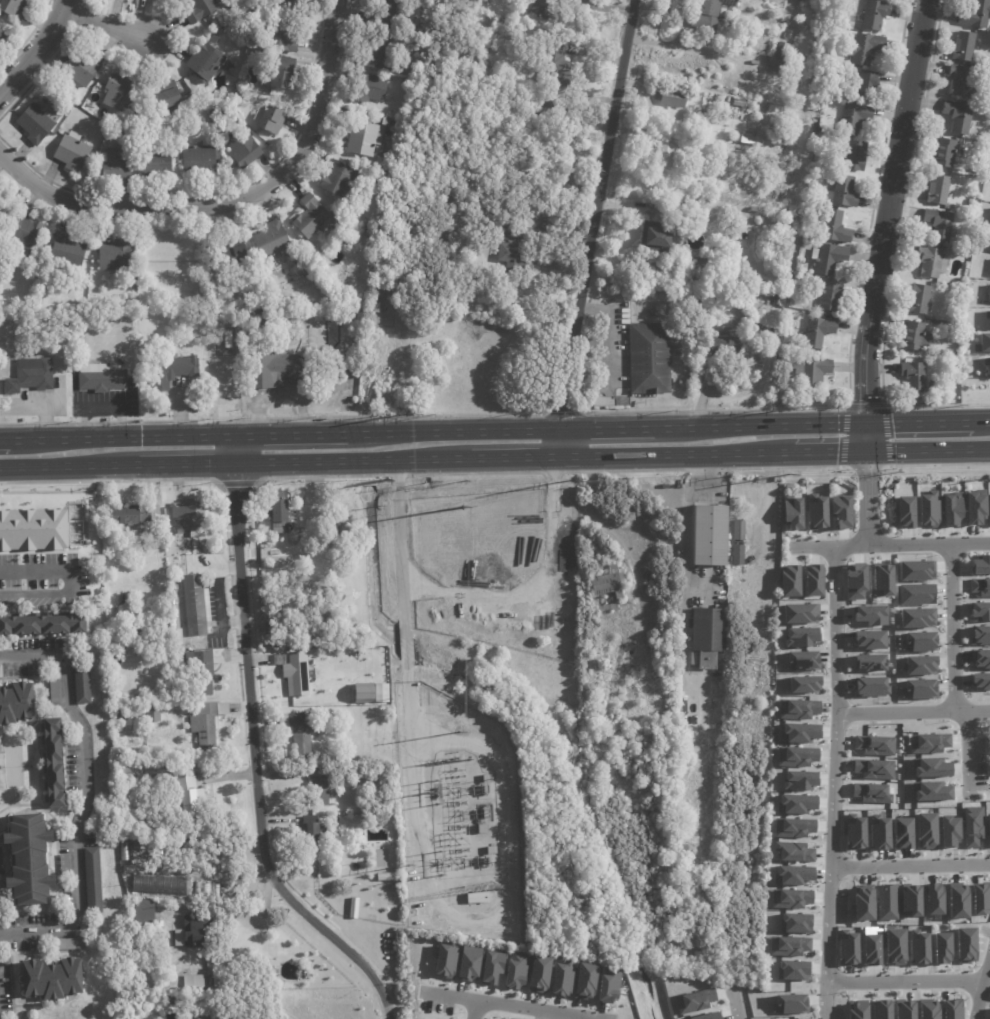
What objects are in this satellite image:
building: (224, 1)
building: (288, 2)
building: (13, 8)
building: (544, 8)
building: (201, 10)
building: (711, 12)
building: (876, 15)
building: (394, 16)
building: (977, 16)
road: (104, 24)
building: (283, 33)
building: (790, 34)
building: (987, 37)
building: (2, 38)
building: (731, 41)
building: (966, 47)
building: (866, 48)
road: (37, 49)
building: (786, 51)
building: (378, 53)
building: (207, 62)
building: (285, 63)
building: (777, 65)
building: (557, 67)
building: (80, 68)
building: (277, 80)
building: (748, 80)
building: (965, 83)
building: (870, 85)
building: (369, 89)
building: (119, 92)
building: (673, 97)
building: (169, 99)
building: (989, 99)
building: (739, 103)
building: (69, 105)
building: (545, 113)
building: (815, 116)
building: (960, 117)
building: (375, 119)
building: (857, 119)
building: (270, 120)
building: (123, 122)
building: (37, 123)
building: (781, 133)
building: (364, 138)
building: (814, 139)
building: (749, 140)
building: (672, 145)
building: (244, 149)
building: (73, 152)
building: (946, 154)
building: (858, 156)
building: (200, 160)
building: (156, 163)
building: (117, 164)
building: (979, 169)
building: (373, 177)
building: (340, 181)
building: (940, 191)
building: (846, 192)
road: (229, 200)
building: (753, 210)
road: (887, 210)
road: (593, 212)
building: (314, 218)
building: (941, 226)
building: (837, 227)
building: (513, 232)
building: (24, 234)
building: (658, 238)
building: (272, 240)
building: (816, 242)
building: (713, 248)
building: (67, 253)
building: (236, 253)
building: (511, 253)
building: (115, 256)
building: (830, 259)
building: (371, 260)
building: (931, 262)
building: (530, 267)
building: (703, 267)
building: (696, 283)
building: (832, 297)
building: (185, 298)
building: (921, 300)
building: (688, 304)
building: (377, 308)
building: (257, 320)
building: (820, 333)
building: (918, 338)
building: (78, 341)
building: (984, 342)
building: (728, 344)
building: (792, 349)
building: (649, 359)
building: (986, 363)
building: (172, 371)
building: (274, 371)
building: (813, 372)
building: (30, 376)
building: (915, 377)
building: (101, 379)
power tower: (800, 405)
power tower: (407, 414)
road: (979, 419)
road: (916, 420)
traffic signals: (865, 422)
road: (757, 423)
road: (607, 425)
road: (453, 428)
road: (289, 431)
road: (118, 434)
road: (0, 437)
road: (866, 437)
road: (564, 441)
road: (235, 448)
road: (928, 451)
road: (831, 453)
traffic signals: (867, 453)
road: (679, 455)
road: (517, 457)
road: (353, 461)
road: (186, 464)
road: (68, 465)
power tower: (789, 475)
power tower: (574, 479)
road: (868, 500)
building: (989, 504)
power tower: (463, 508)
building: (974, 508)
building: (928, 509)
building: (951, 509)
building: (815, 511)
building: (758, 512)
building: (791, 512)
building: (133, 513)
building: (192, 513)
building: (282, 514)
building: (32, 530)
building: (744, 530)
building: (710, 535)
road: (892, 547)
road: (683, 552)
building: (742, 559)
building: (980, 564)
road: (45, 569)
building: (812, 580)
building: (881, 580)
building: (789, 581)
building: (611, 583)
building: (980, 586)
road: (35, 591)
road: (476, 597)
road: (402, 602)
building: (164, 604)
building: (196, 605)
building: (609, 608)
building: (213, 611)
building: (980, 611)
building: (799, 613)
building: (916, 617)
building: (43, 624)
building: (135, 627)
road: (954, 630)
building: (980, 635)
building: (178, 636)
building: (706, 637)
building: (800, 637)
building: (869, 639)
building: (918, 642)
road: (405, 644)
building: (980, 659)
building: (802, 660)
building: (869, 662)
building: (918, 665)
building: (205, 670)
building: (299, 673)
building: (980, 681)
building: (82, 683)
building: (803, 684)
building: (870, 687)
building: (918, 689)
building: (363, 693)
building: (55, 694)
building: (16, 703)
building: (797, 708)
building: (133, 711)
building: (153, 714)
road: (914, 714)
building: (207, 722)
building: (298, 732)
power tower: (458, 732)
building: (798, 733)
building: (926, 743)
building: (874, 745)
road: (970, 752)
building: (795, 756)
building: (53, 763)
road: (256, 765)
building: (929, 767)
building: (873, 769)
building: (357, 771)
building: (129, 773)
building: (487, 779)
building: (799, 780)
road: (836, 784)
building: (930, 791)
building: (320, 792)
power tower: (429, 793)
building: (870, 793)
building: (187, 795)
road: (80, 801)
building: (795, 803)
power substation: (455, 816)
building: (192, 826)
building: (972, 826)
building: (793, 827)
building: (482, 829)
building: (925, 830)
building: (948, 831)
building: (988, 831)
building: (854, 832)
building: (310, 833)
building: (878, 833)
building: (902, 833)
building: (492, 850)
building: (181, 851)
building: (794, 851)
building: (141, 852)
building: (29, 859)
building: (65, 865)
road: (911, 868)
building: (792, 875)
road: (209, 876)
building: (387, 877)
building: (93, 880)
building: (161, 885)
building: (478, 898)
building: (790, 898)
building: (980, 898)
building: (933, 899)
building: (910, 900)
building: (957, 900)
building: (863, 902)
building: (886, 902)
building: (350, 907)
road: (265, 910)
building: (144, 914)
road: (461, 914)
building: (794, 922)
building: (193, 931)
building: (69, 944)
building: (965, 944)
building: (788, 945)
building: (894, 946)
building: (846, 947)
building: (917, 947)
building: (941, 948)
building: (871, 949)
building: (445, 960)
building: (468, 963)
building: (490, 967)
building: (792, 970)
building: (514, 971)
building: (538, 974)
building: (561, 979)
building: (52, 980)
building: (199, 981)
building: (585, 981)
road: (907, 984)
building: (608, 985)
building: (161, 987)
road: (982, 992)
building: (693, 1001)
road: (734, 1003)
building: (789, 1004)
road: (510, 1005)
building: (855, 1009)
building: (880, 1009)
building: (903, 1009)
building: (927, 1009)
building: (951, 1009)
road: (475, 1010)
building: (707, 1016)
building: (210, 1017)
road: (588, 1018)
building: (806, 1018)

